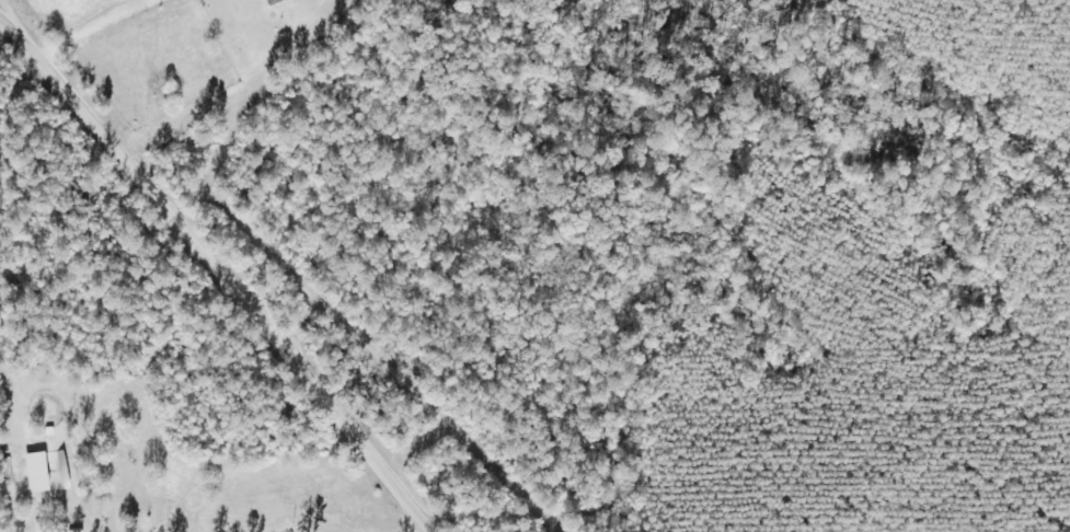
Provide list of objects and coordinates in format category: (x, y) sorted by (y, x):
building: (277, 1)
road: (212, 280)

